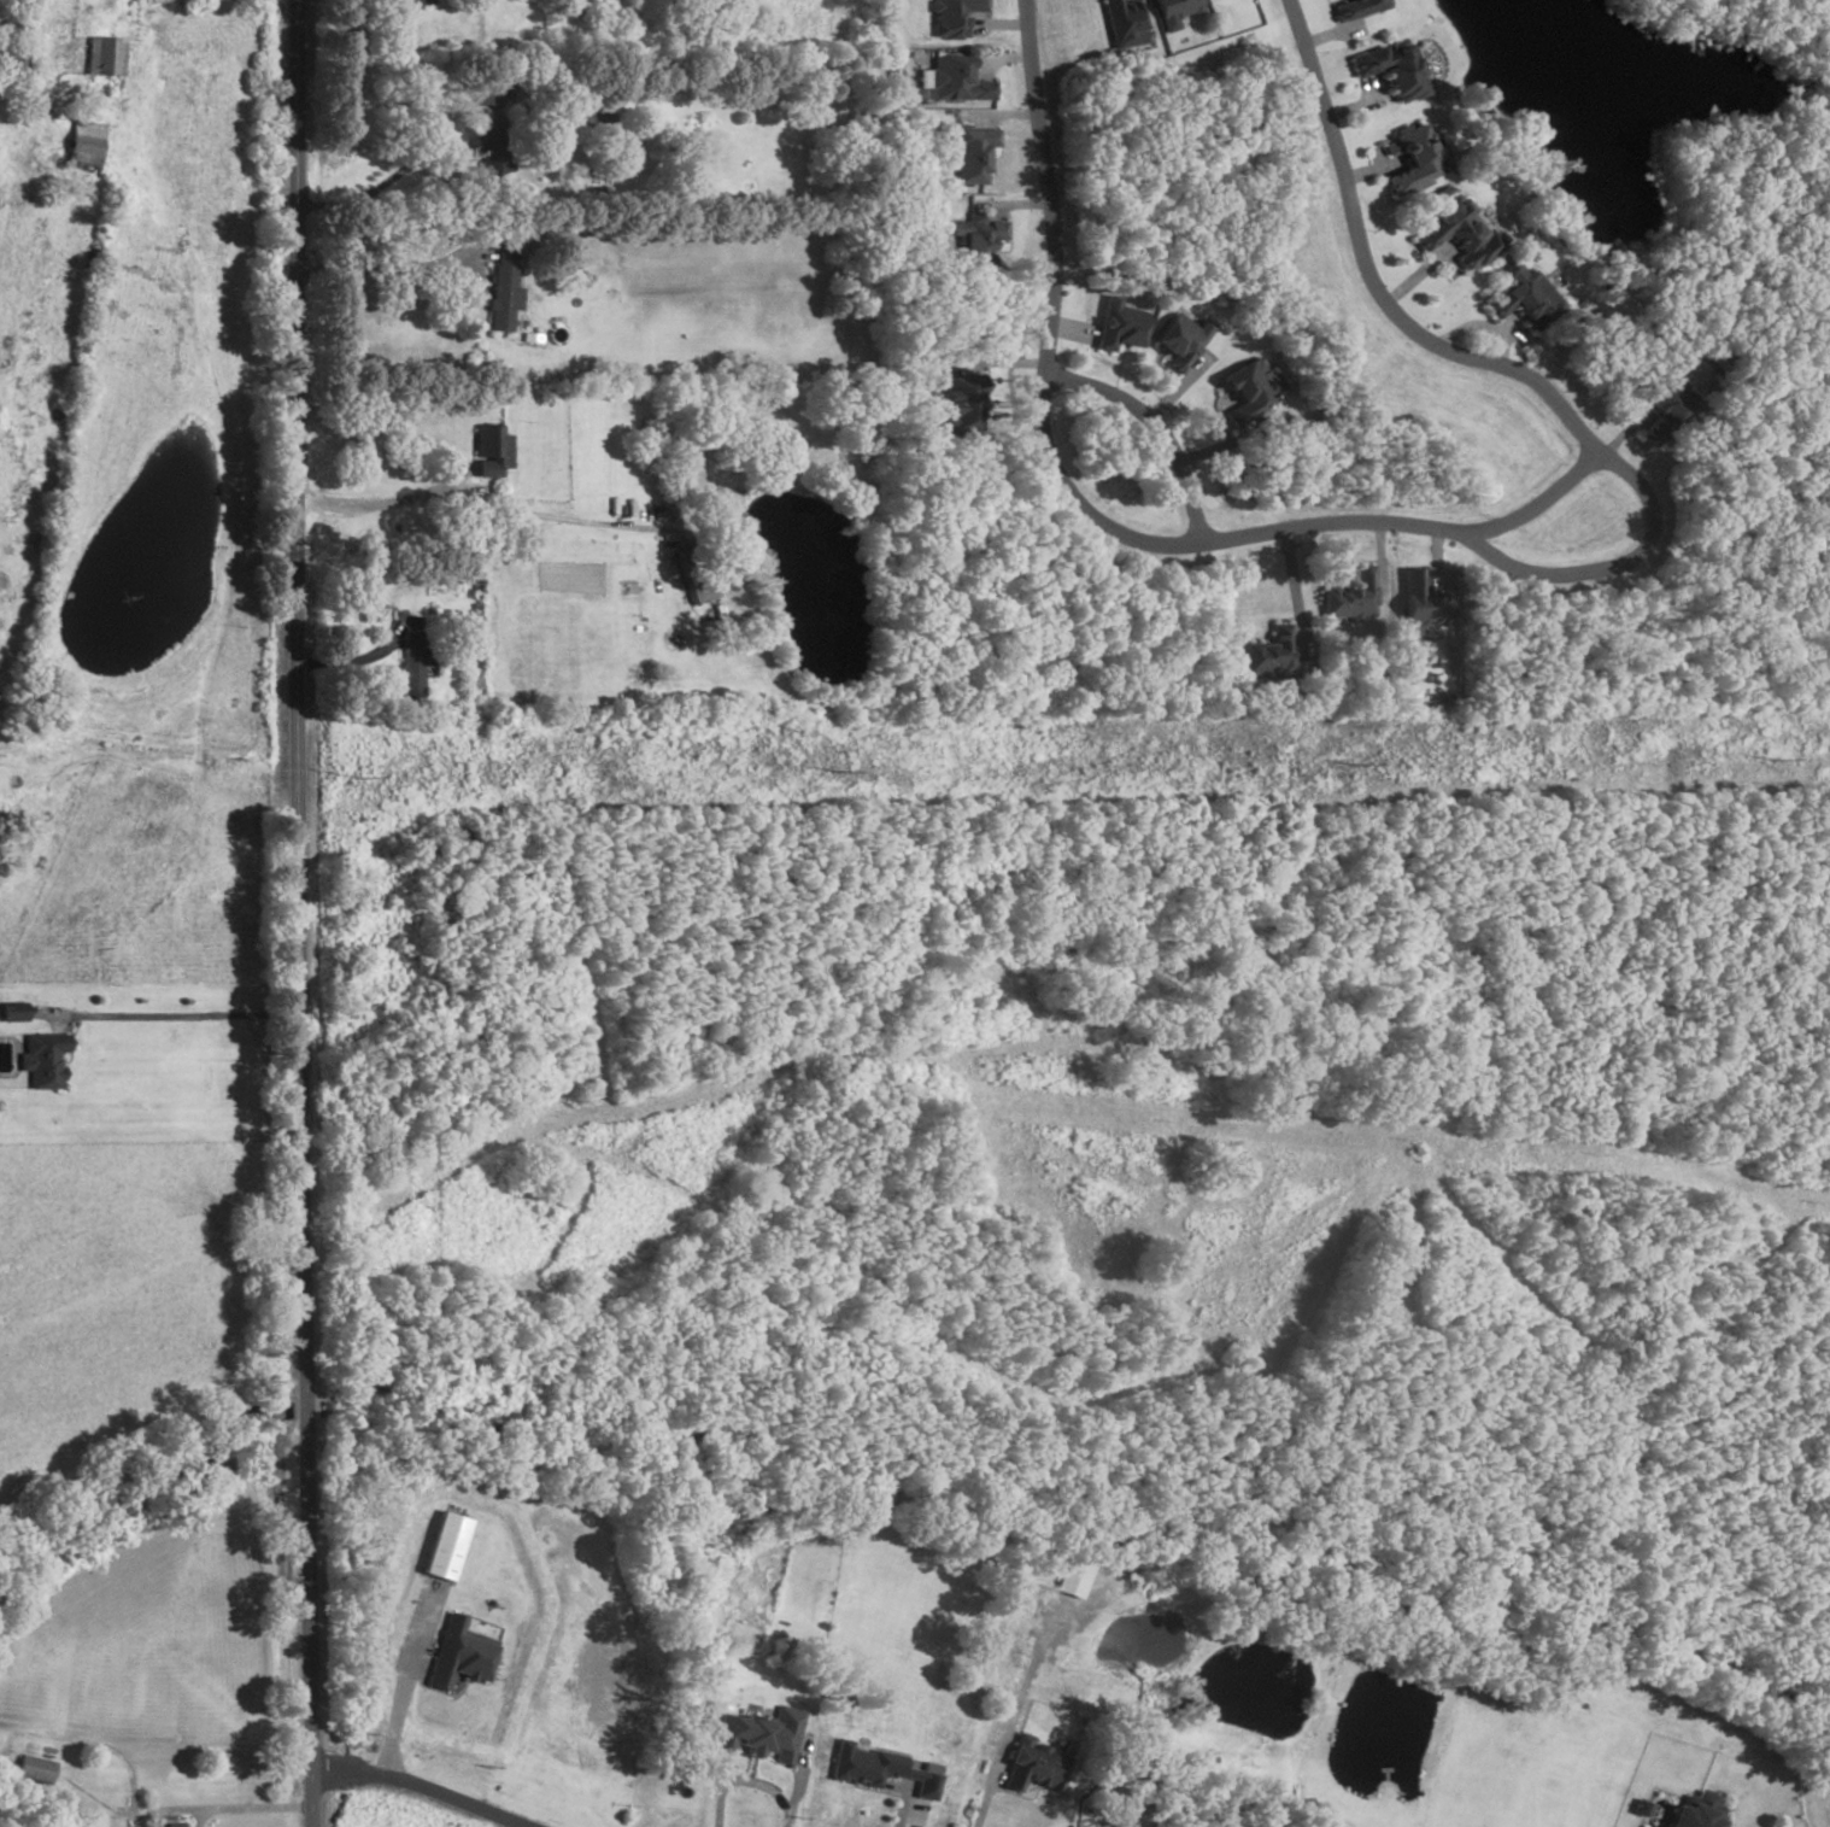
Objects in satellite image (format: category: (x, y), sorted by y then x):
building: (415, 2)
building: (1355, 7)
building: (1172, 8)
building: (952, 17)
building: (1119, 23)
building: (104, 58)
road: (997, 60)
building: (1389, 70)
building: (952, 82)
road: (1353, 109)
road: (1001, 117)
building: (83, 148)
building: (966, 154)
building: (1409, 162)
road: (1369, 174)
road: (1046, 187)
road: (1013, 206)
building: (1460, 234)
building: (978, 235)
building: (568, 251)
road: (382, 273)
road: (1368, 279)
road: (1414, 279)
building: (500, 291)
building: (1524, 297)
building: (1116, 327)
road: (1482, 327)
road: (1067, 332)
building: (528, 339)
building: (1179, 342)
road: (1001, 364)
road: (1162, 370)
road: (1118, 371)
road: (1175, 390)
building: (1249, 391)
building: (960, 404)
building: (1660, 406)
road: (1010, 408)
road: (1152, 428)
road: (1621, 434)
road: (1222, 446)
building: (489, 451)
road: (236, 493)
road: (388, 504)
road: (552, 519)
road: (1274, 531)
road: (1379, 557)
road: (1433, 560)
road: (1611, 567)
building: (692, 576)
road: (1292, 591)
building: (1350, 597)
building: (1418, 604)
building: (1267, 657)
road: (354, 661)
building: (416, 663)
road: (298, 913)
building: (11, 1014)
road: (169, 1018)
building: (40, 1060)
building: (440, 1546)
building: (1071, 1579)
building: (454, 1656)
road: (400, 1681)
building: (761, 1735)
building: (1033, 1767)
building: (35, 1770)
building: (878, 1770)
road: (740, 1782)
road: (794, 1786)
road: (417, 1787)
road: (985, 1799)
road: (901, 1809)
road: (224, 1810)
building: (1694, 1813)
road: (199, 1817)
building: (171, 1825)

